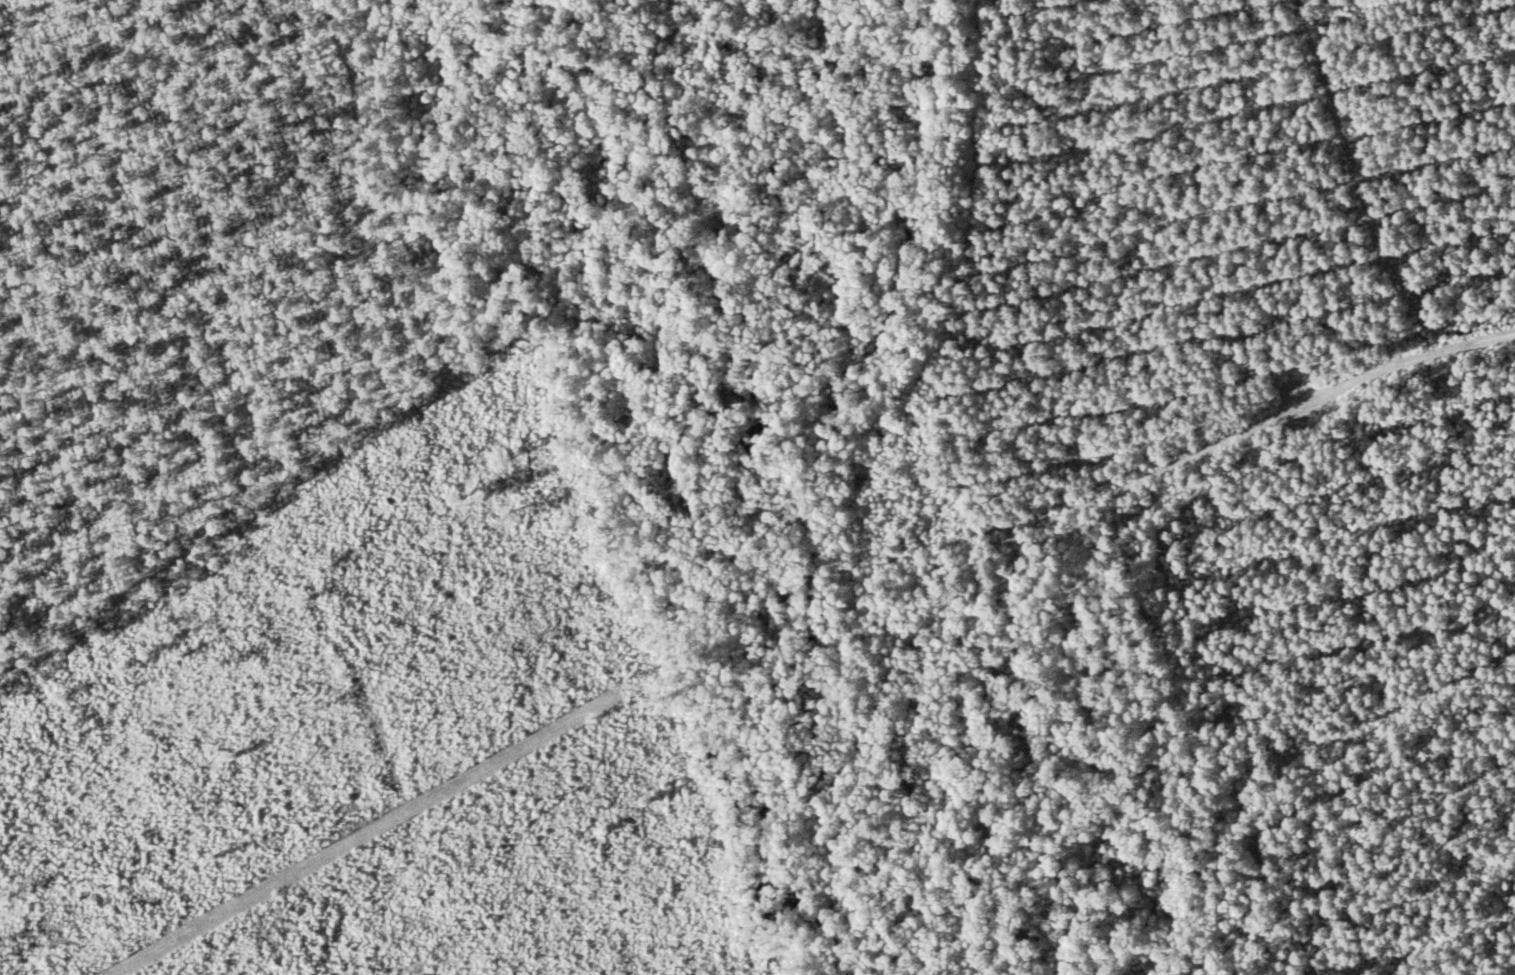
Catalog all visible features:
road: (807, 614)

